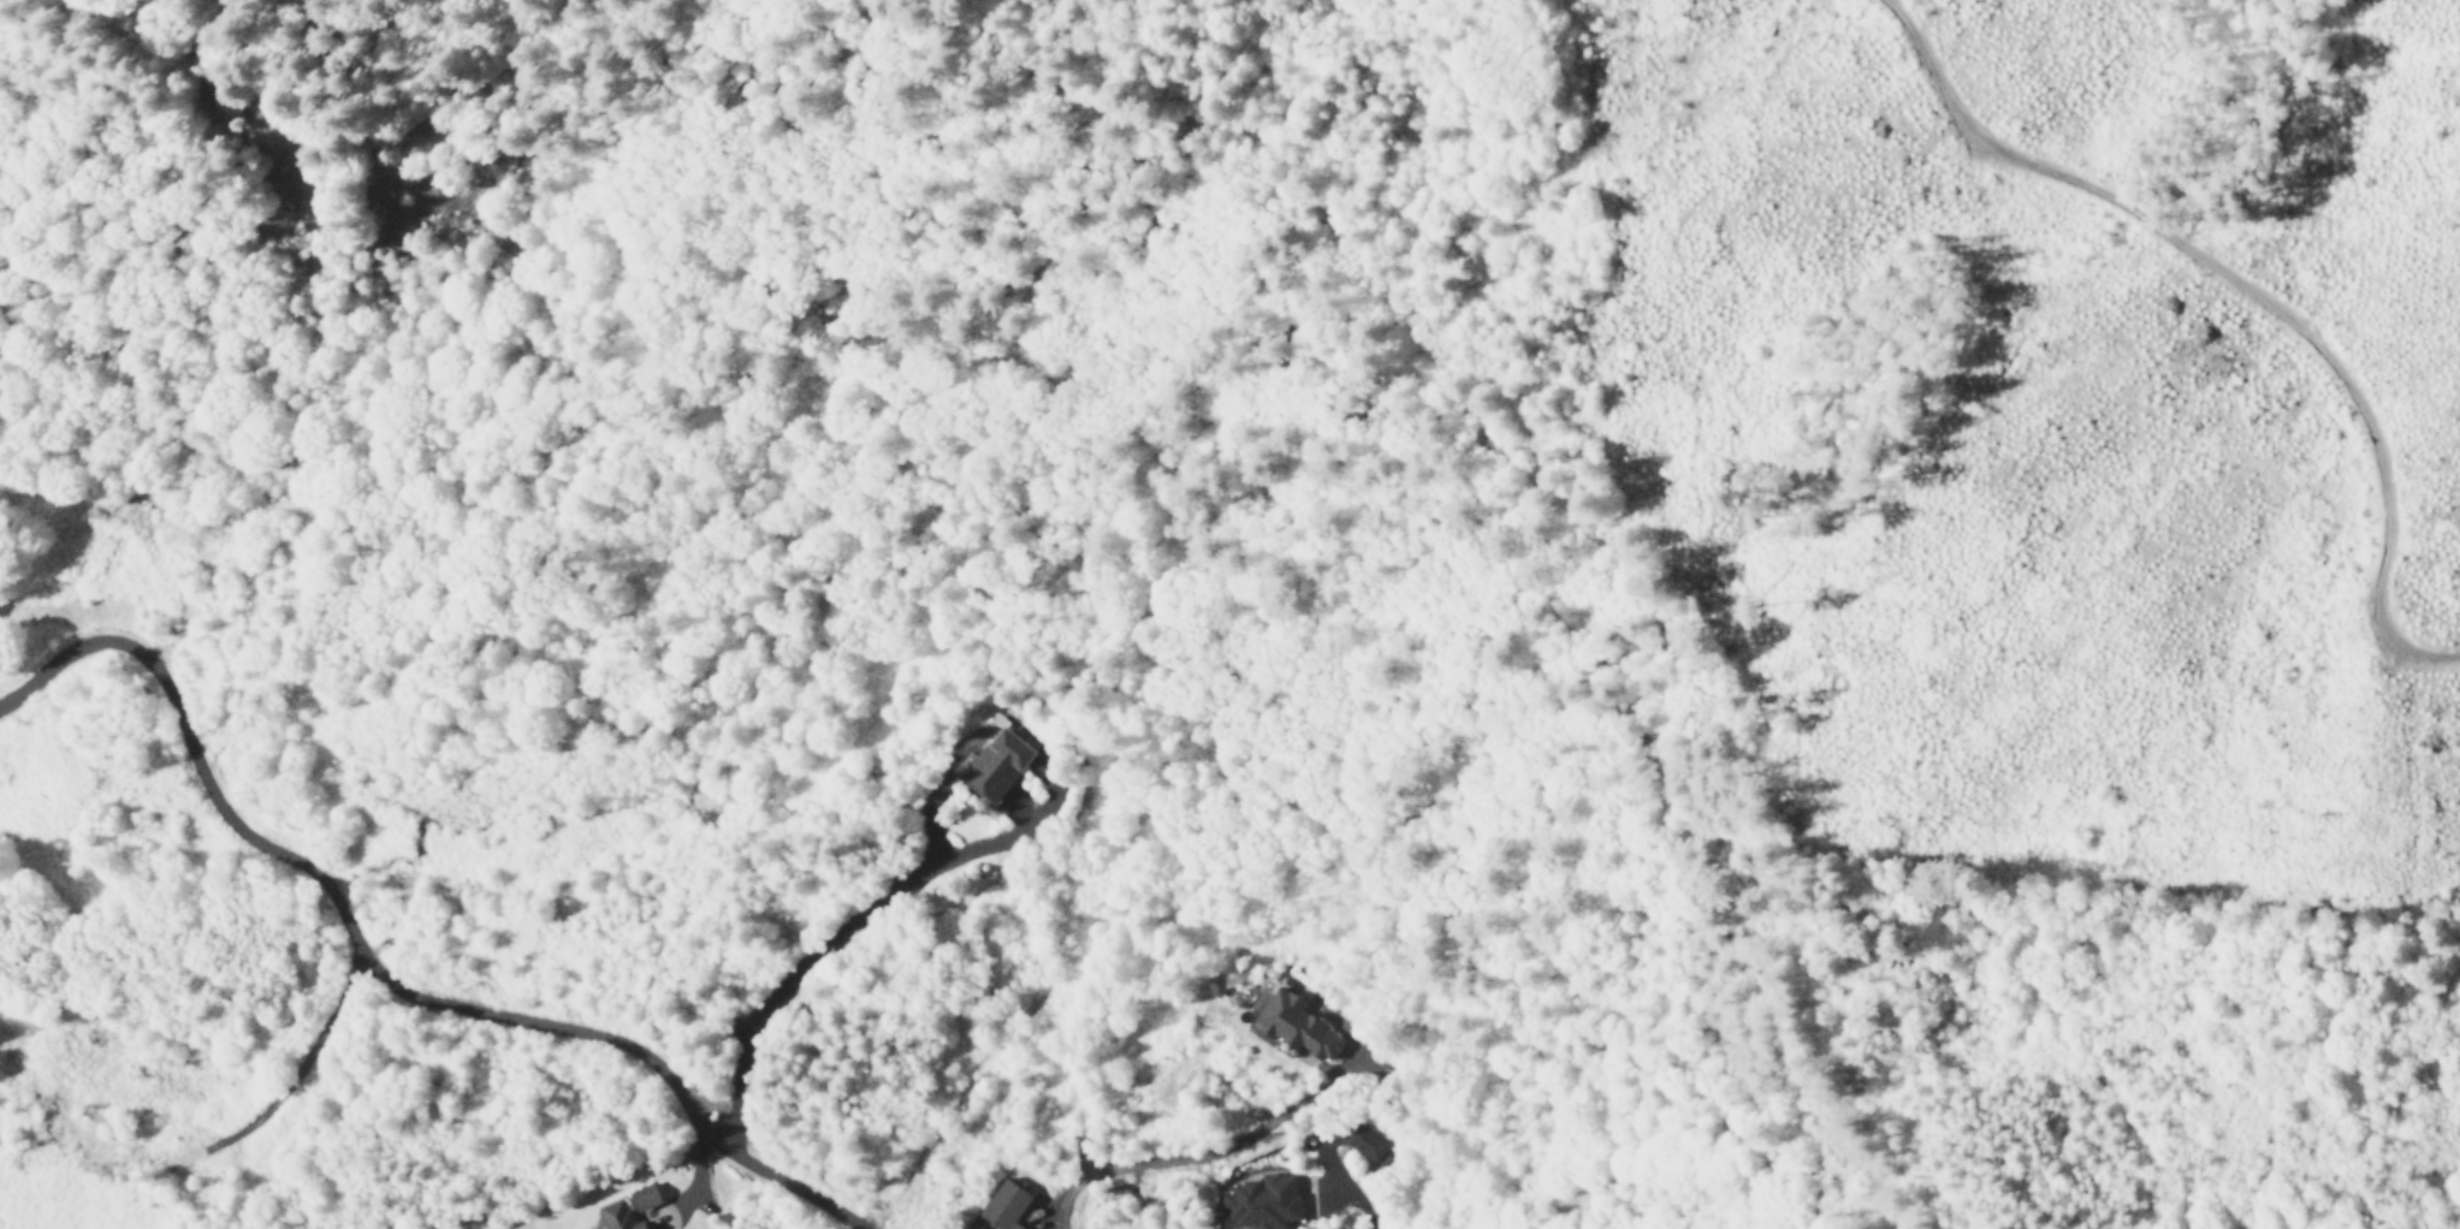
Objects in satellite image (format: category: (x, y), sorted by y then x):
road: (2218, 277)
building: (990, 768)
road: (372, 973)
building: (1294, 1028)
building: (1359, 1145)
road: (1186, 1157)
building: (645, 1199)
building: (1252, 1203)

